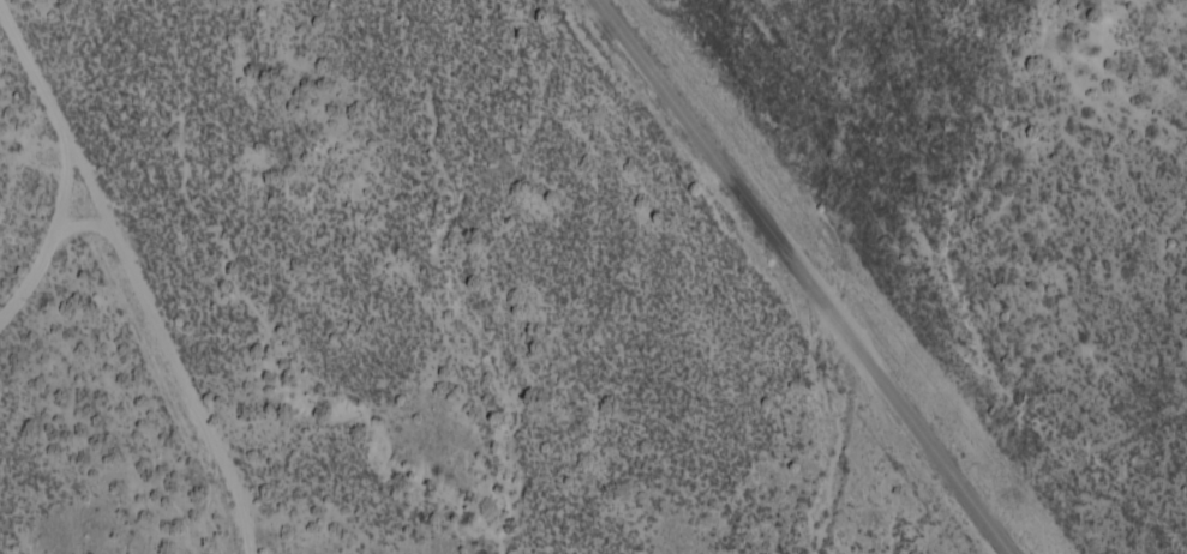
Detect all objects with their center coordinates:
road: (30, 159)
road: (814, 276)
road: (137, 368)

